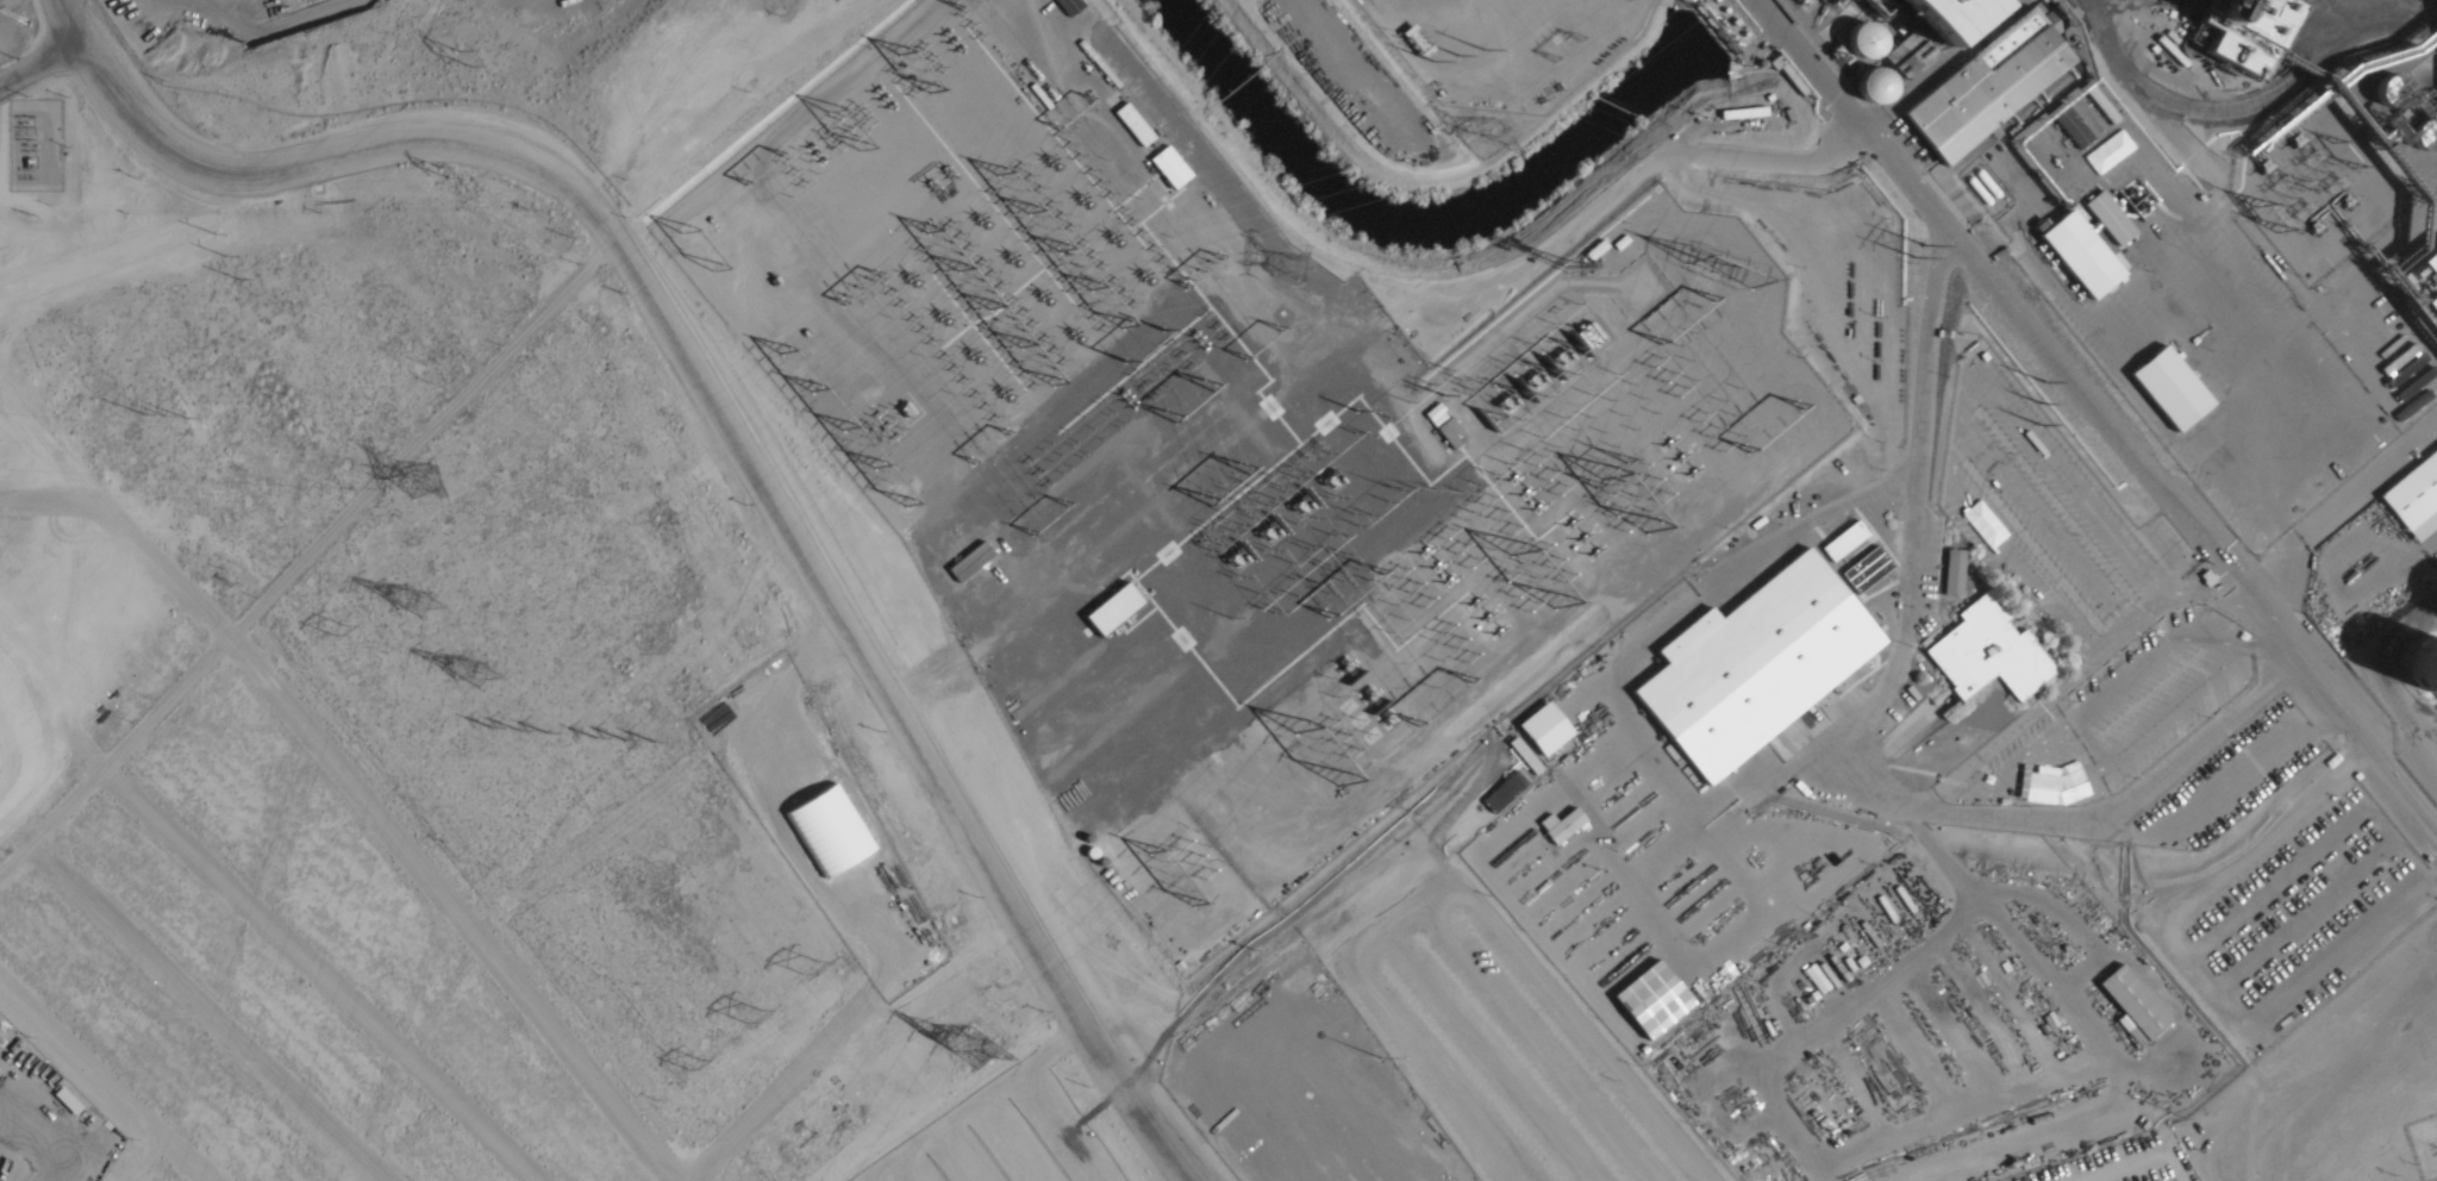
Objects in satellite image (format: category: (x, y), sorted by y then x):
building: (1071, 6)
building: (1955, 15)
road: (71, 21)
building: (2239, 31)
building: (1857, 43)
storage tank: (1857, 43)
power substation: (1512, 45)
power tower: (460, 50)
building: (1910, 54)
road: (40, 63)
building: (1867, 88)
storage tank: (1867, 88)
building: (1979, 89)
building: (2074, 126)
road: (744, 132)
road: (156, 144)
building: (2049, 146)
building: (1155, 148)
power tower: (442, 167)
building: (2099, 220)
power substation: (962, 252)
power tower: (224, 255)
building: (2072, 257)
building: (2427, 282)
building: (2162, 390)
power tower: (162, 414)
road: (2087, 424)
building: (1448, 426)
power tower: (424, 470)
building: (2410, 496)
road: (804, 548)
power substation: (1477, 556)
power plant: (1633, 557)
power tower: (408, 594)
power tower: (337, 627)
building: (975, 649)
building: (1976, 655)
power tower: (473, 666)
building: (1742, 668)
building: (2419, 669)
storage tank: (2419, 669)
power tower: (521, 726)
building: (1535, 731)
power tower: (629, 744)
building: (1550, 827)
power tower: (807, 963)
building: (1643, 1001)
building: (2123, 1008)
power tower: (754, 1011)
power tower: (981, 1043)
power tower: (696, 1061)

